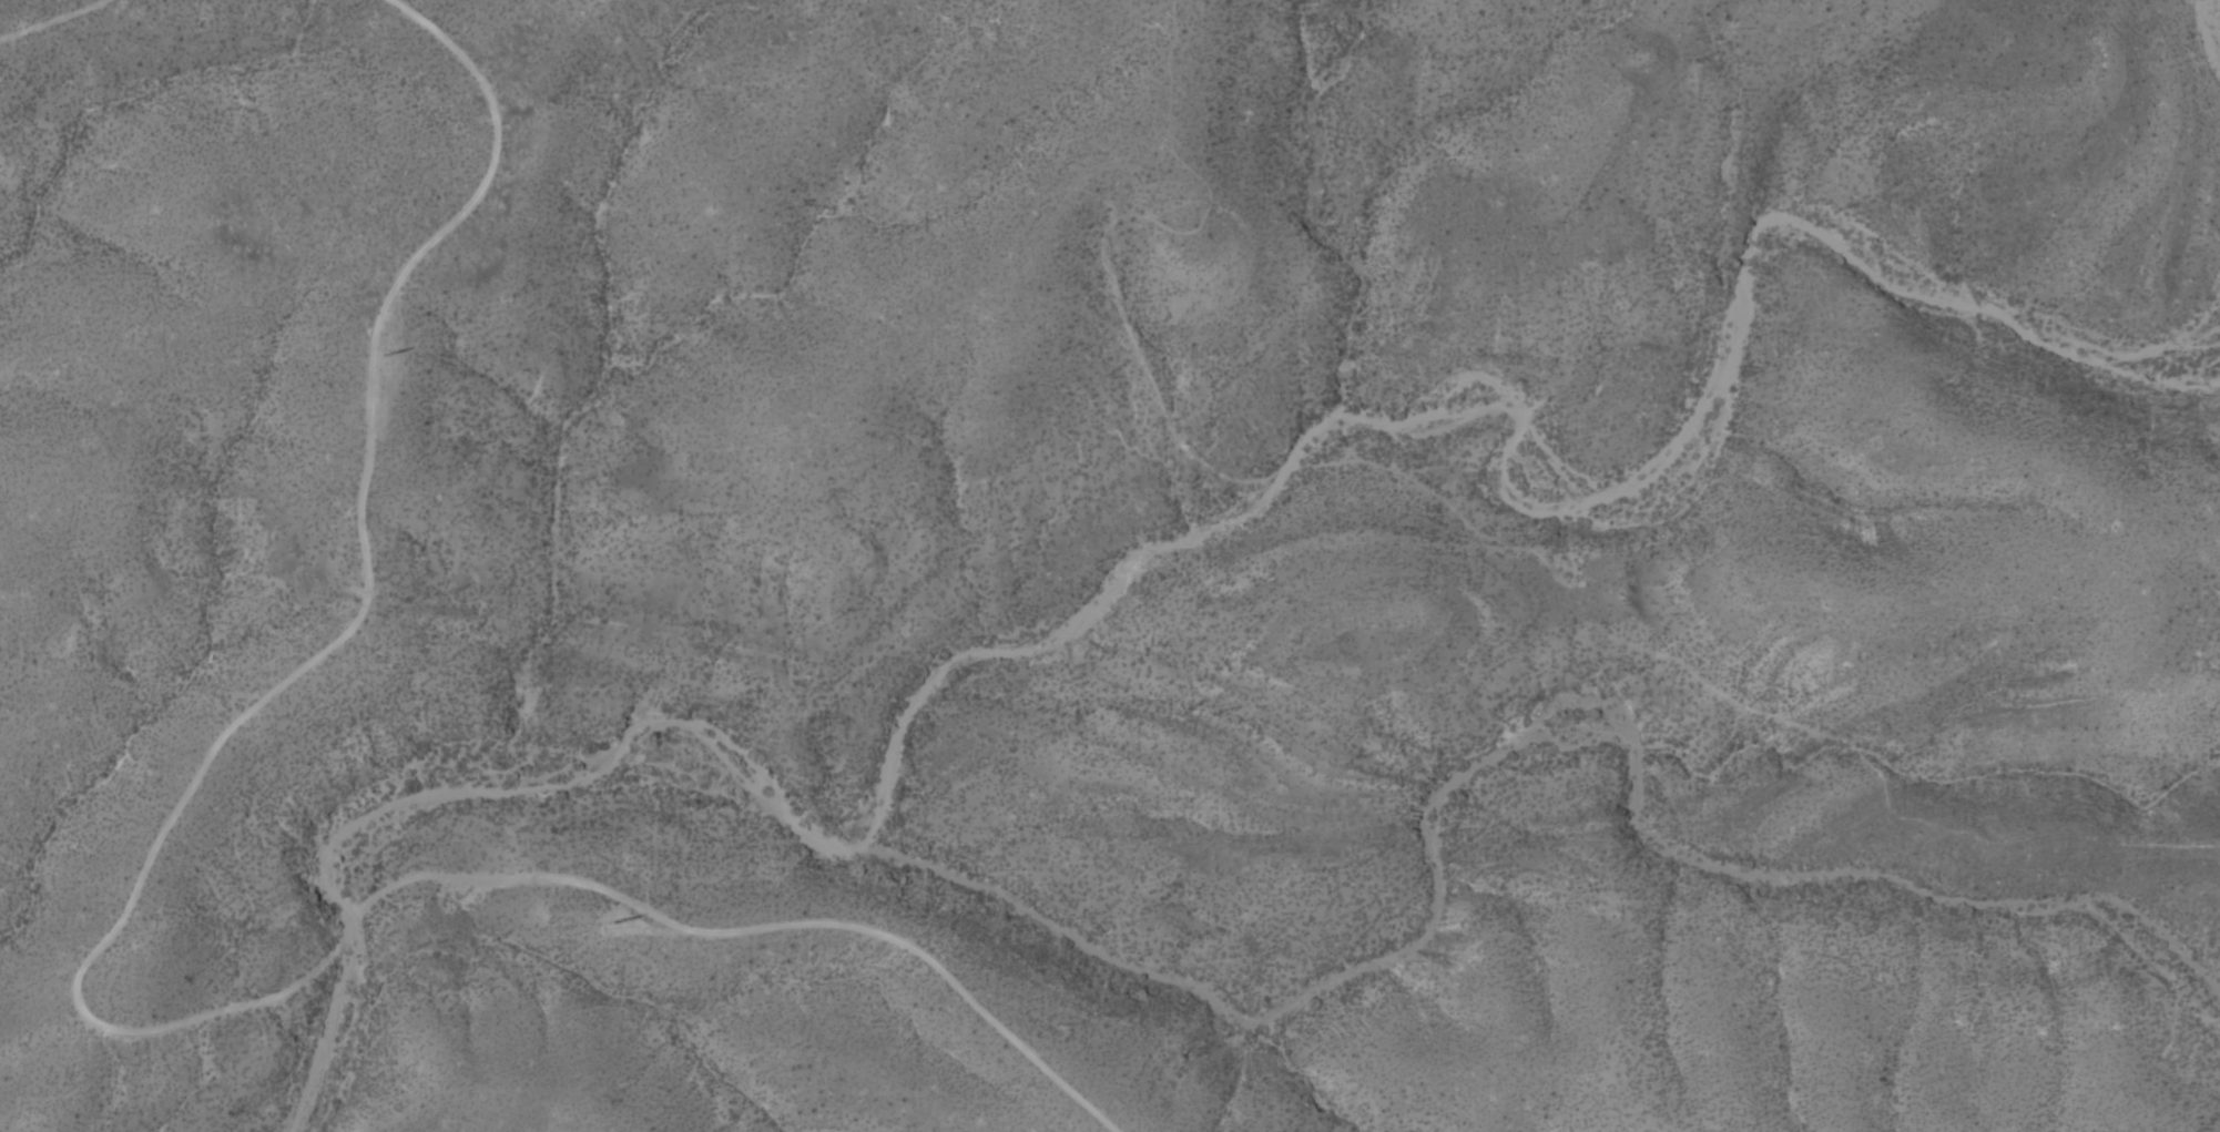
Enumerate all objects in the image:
road: (1466, 523)
road: (75, 996)

